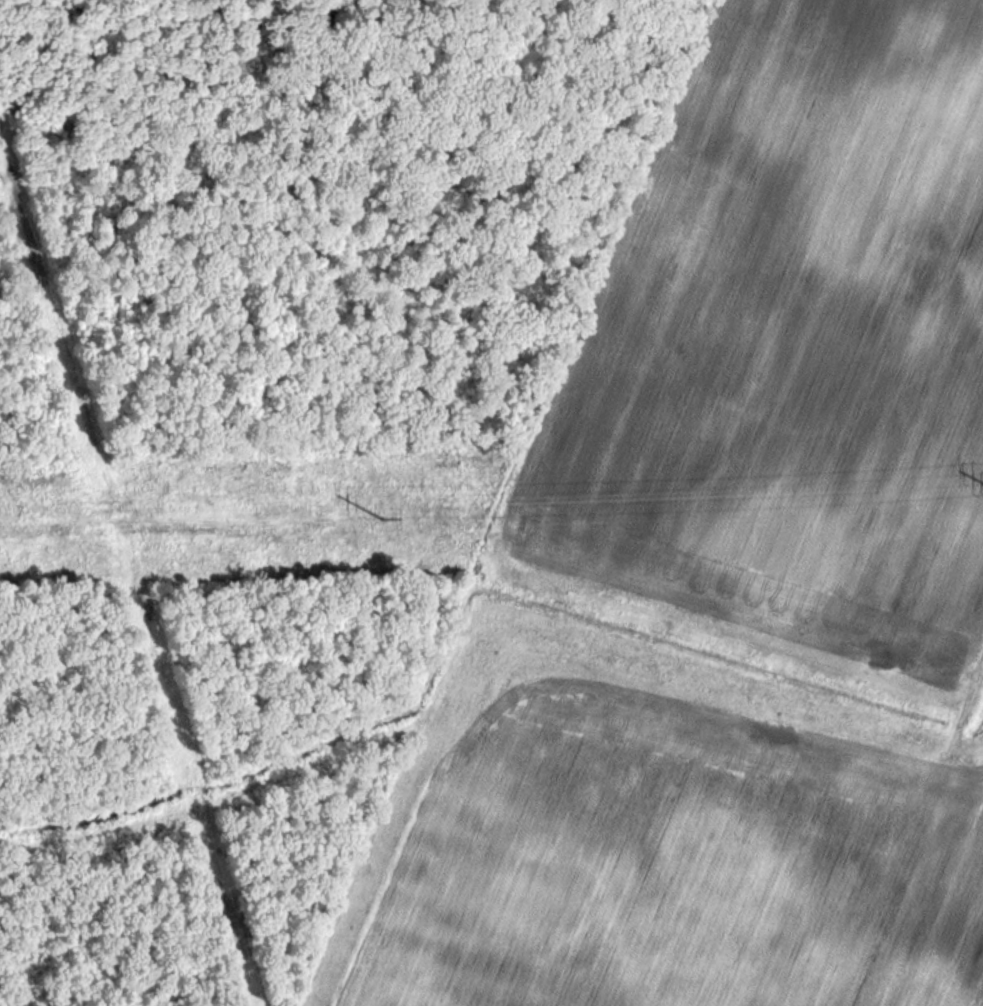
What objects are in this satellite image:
crop: (792, 346)
power tower: (378, 523)
crop: (655, 847)

